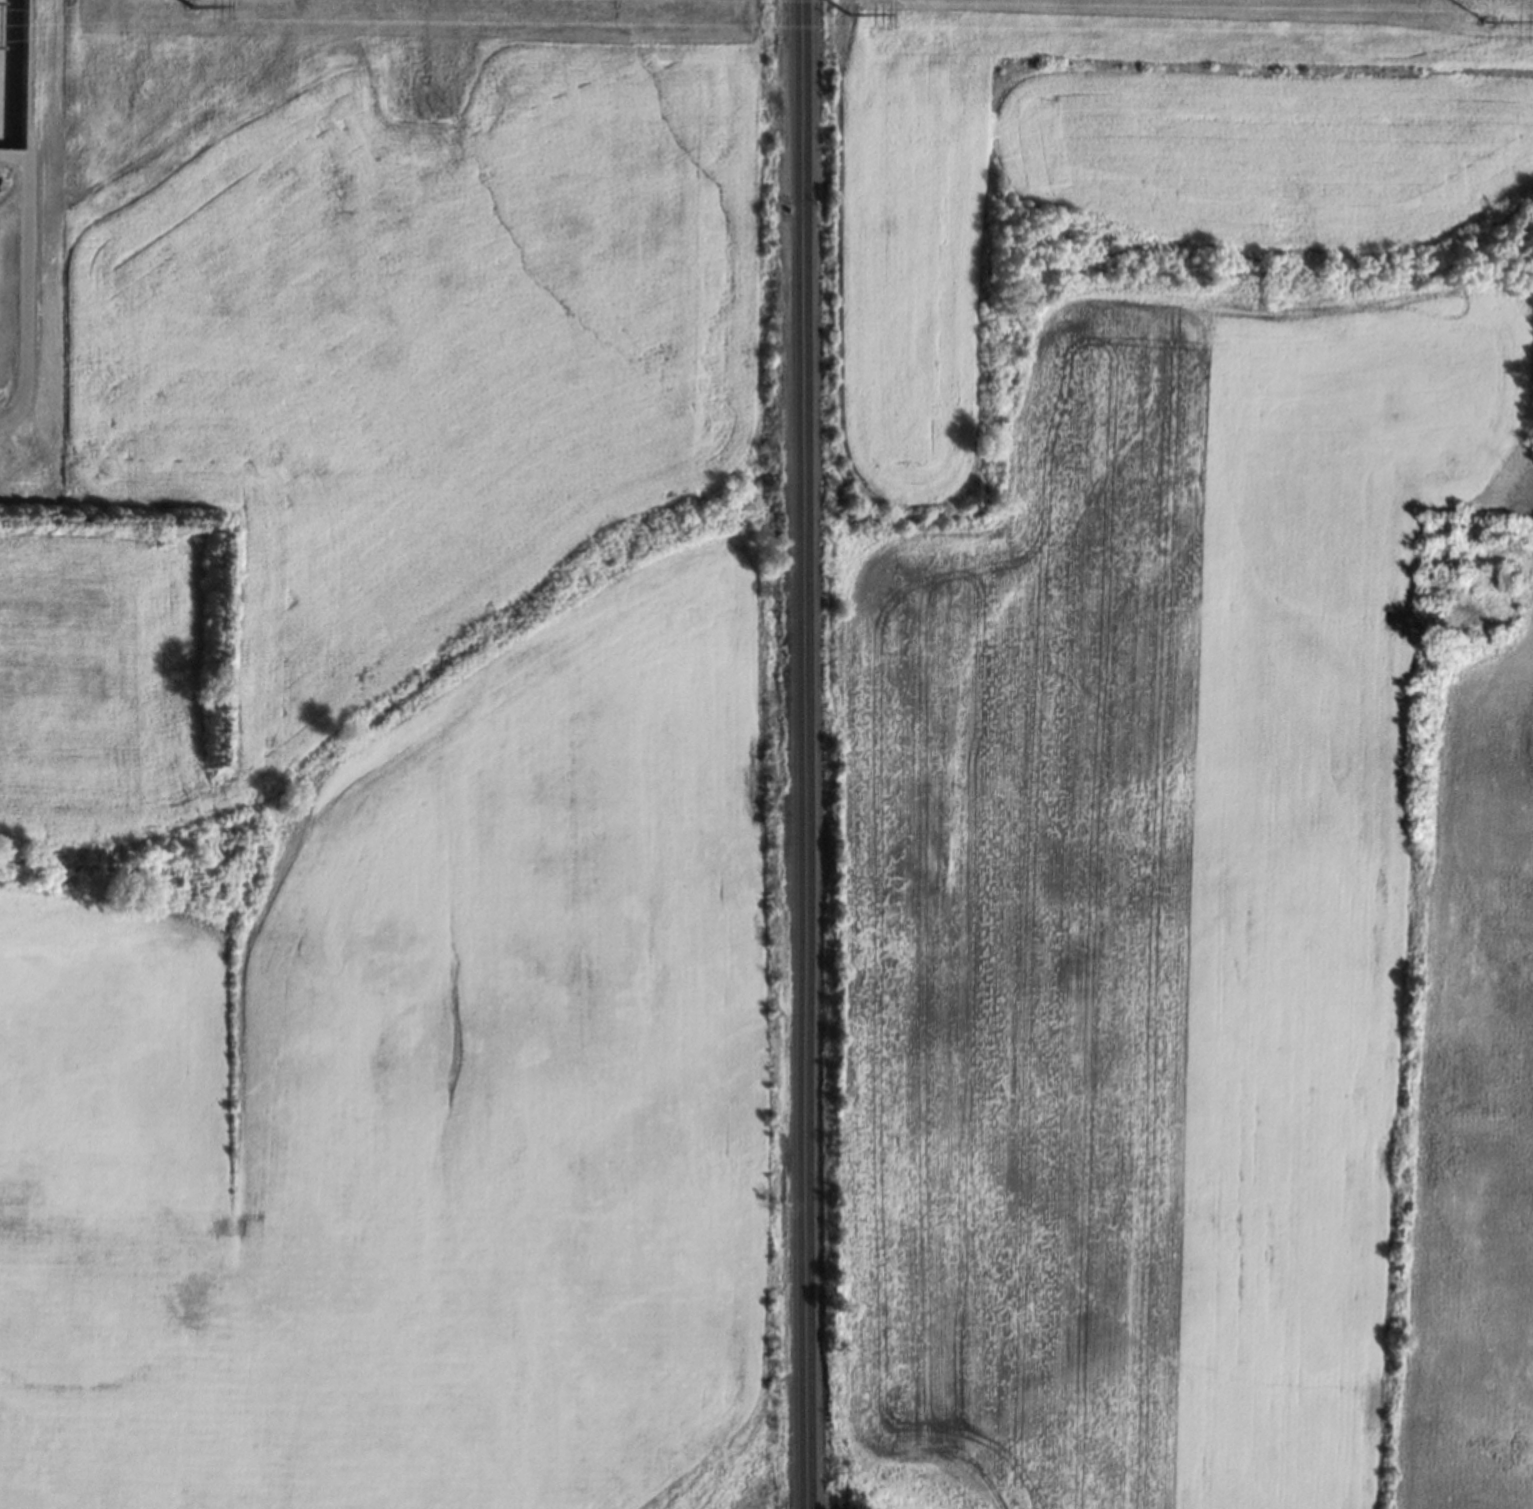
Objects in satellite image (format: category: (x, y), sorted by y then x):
power tower: (854, 2)
power tower: (1483, 11)
road: (0, 24)
power substation: (11, 67)
road: (29, 210)
railway: (798, 754)
railway: (809, 754)

